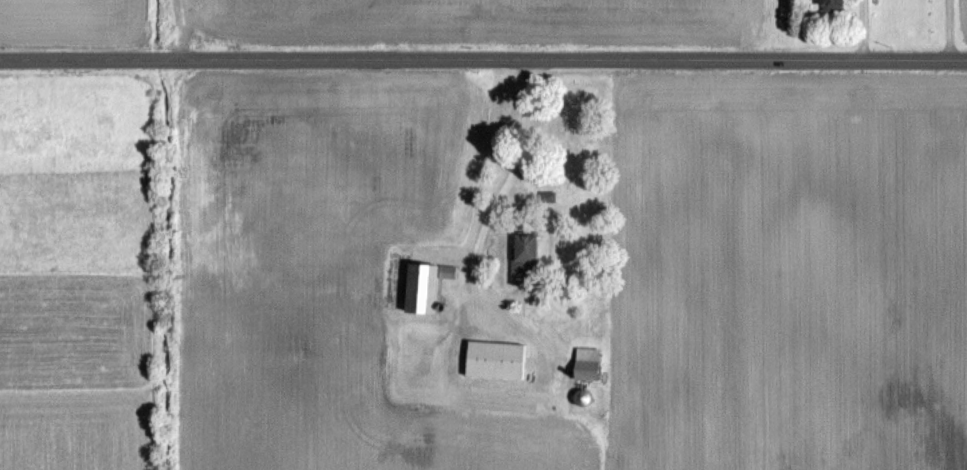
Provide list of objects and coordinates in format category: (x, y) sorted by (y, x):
building: (834, 3)
crop: (476, 22)
crop: (962, 25)
road: (944, 29)
road: (854, 30)
road: (483, 59)
road: (499, 190)
building: (527, 259)
building: (427, 287)
building: (498, 360)
building: (589, 369)
building: (584, 398)

